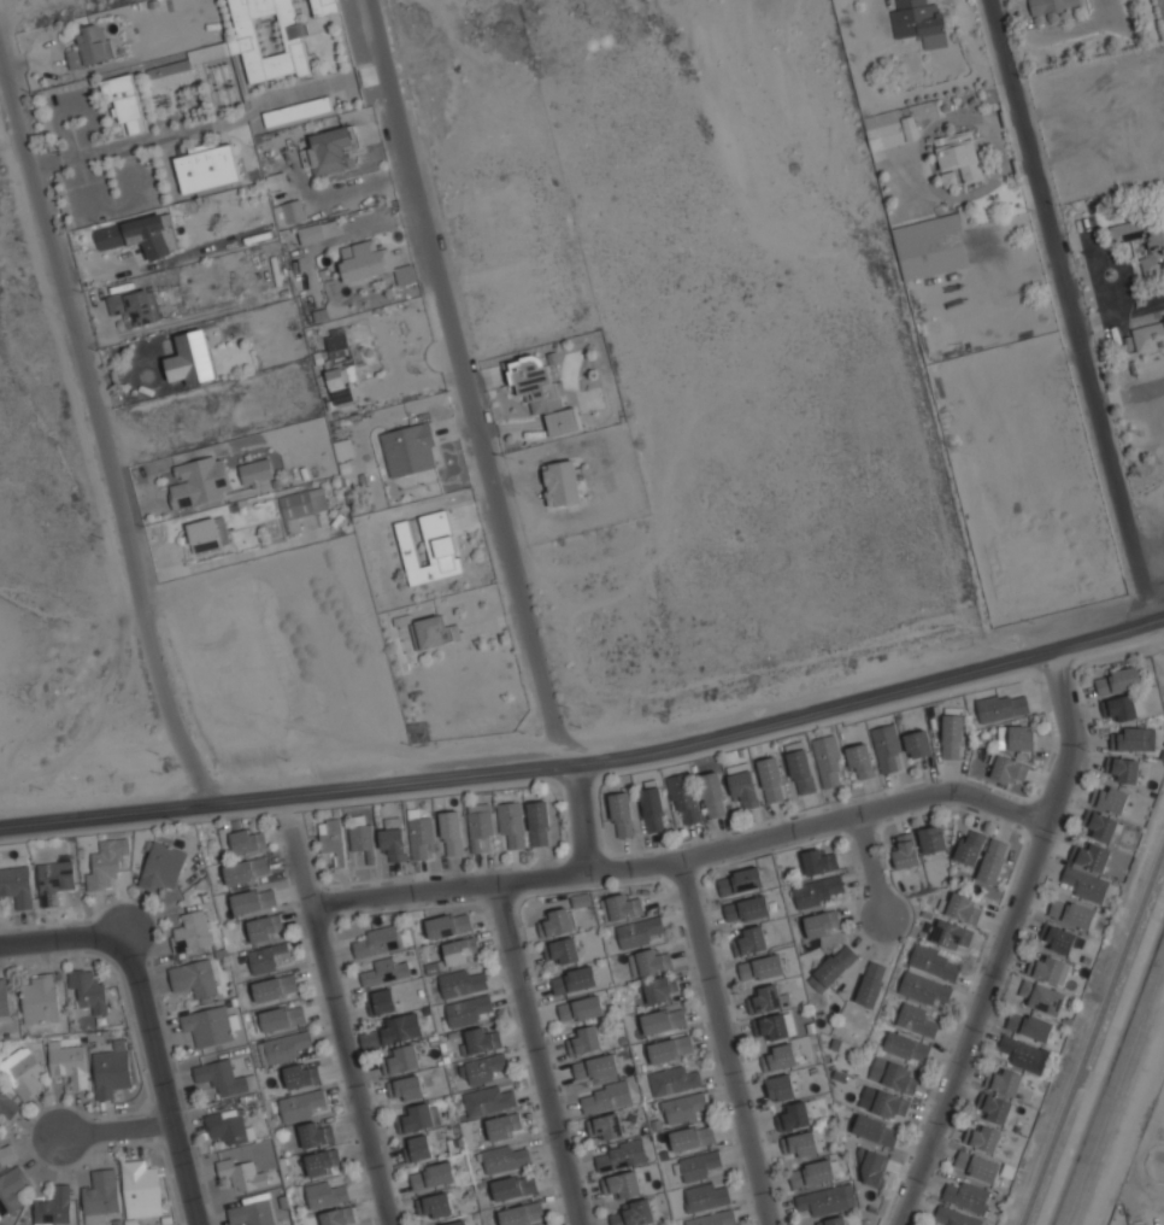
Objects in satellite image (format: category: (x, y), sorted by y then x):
building: (327, 5)
building: (1051, 5)
building: (921, 22)
building: (251, 43)
building: (90, 46)
building: (124, 101)
building: (296, 110)
building: (893, 131)
road: (131, 141)
building: (329, 148)
building: (958, 156)
building: (206, 165)
building: (293, 210)
building: (929, 225)
building: (311, 231)
building: (140, 234)
building: (1156, 247)
building: (365, 258)
building: (135, 305)
road: (1075, 310)
building: (1148, 334)
building: (189, 358)
building: (339, 364)
road: (471, 383)
building: (541, 391)
road: (1130, 392)
road: (101, 435)
building: (410, 447)
building: (343, 449)
building: (255, 470)
building: (199, 481)
building: (562, 481)
building: (301, 505)
building: (206, 535)
road: (1148, 545)
building: (430, 547)
building: (431, 629)
building: (1117, 679)
building: (1003, 707)
building: (1123, 707)
building: (952, 733)
building: (1017, 737)
building: (1135, 739)
building: (918, 744)
building: (887, 749)
building: (860, 761)
building: (828, 762)
road: (589, 763)
building: (1007, 768)
building: (1123, 769)
building: (800, 772)
building: (771, 779)
building: (743, 790)
building: (712, 795)
building: (683, 798)
building: (1112, 798)
building: (652, 807)
building: (621, 814)
road: (580, 819)
building: (539, 823)
building: (478, 826)
building: (512, 826)
building: (1101, 826)
building: (451, 833)
building: (421, 837)
building: (933, 838)
building: (247, 839)
building: (333, 839)
building: (361, 839)
building: (393, 843)
building: (970, 845)
building: (905, 851)
road: (683, 856)
building: (1090, 856)
building: (993, 858)
building: (818, 861)
building: (104, 863)
building: (161, 864)
road: (870, 864)
building: (246, 869)
building: (53, 879)
building: (740, 879)
building: (16, 884)
building: (1086, 885)
building: (818, 890)
building: (253, 899)
building: (581, 899)
road: (1035, 902)
building: (621, 905)
building: (963, 907)
building: (747, 908)
building: (1071, 913)
building: (559, 920)
building: (822, 922)
building: (448, 925)
building: (265, 928)
building: (641, 930)
building: (190, 931)
building: (952, 933)
road: (64, 938)
building: (1057, 938)
building: (754, 939)
road: (1003, 939)
building: (377, 940)
building: (460, 950)
building: (562, 950)
building: (269, 959)
building: (649, 961)
building: (935, 961)
building: (833, 966)
building: (762, 967)
building: (1052, 969)
building: (386, 971)
building: (194, 977)
building: (574, 978)
building: (462, 981)
building: (871, 983)
building: (275, 986)
building: (660, 987)
building: (924, 987)
building: (88, 992)
building: (768, 997)
building: (1041, 997)
building: (2, 1000)
building: (40, 1000)
building: (381, 1001)
building: (582, 1008)
building: (468, 1009)
building: (282, 1016)
building: (664, 1019)
building: (916, 1020)
building: (207, 1025)
road: (340, 1025)
building: (774, 1025)
building: (1028, 1026)
building: (390, 1031)
road: (1092, 1034)
building: (482, 1038)
building: (590, 1038)
road: (724, 1041)
building: (282, 1047)
building: (670, 1048)
building: (906, 1048)
road: (537, 1054)
building: (1023, 1054)
building: (780, 1055)
building: (400, 1059)
building: (69, 1065)
building: (596, 1066)
building: (483, 1068)
building: (110, 1073)
building: (300, 1073)
building: (22, 1074)
building: (894, 1074)
building: (223, 1077)
road: (160, 1078)
building: (674, 1079)
building: (1007, 1082)
building: (781, 1085)
building: (407, 1086)
building: (606, 1096)
building: (488, 1100)
building: (7, 1104)
building: (302, 1104)
building: (890, 1104)
building: (684, 1107)
building: (995, 1108)
building: (794, 1115)
building: (416, 1118)
building: (228, 1125)
road: (110, 1126)
building: (504, 1126)
building: (605, 1126)
building: (875, 1130)
building: (314, 1133)
building: (693, 1136)
building: (986, 1138)
building: (801, 1144)
building: (418, 1147)
building: (6, 1154)
building: (621, 1154)
building: (506, 1159)
building: (323, 1161)
building: (696, 1165)
building: (872, 1167)
building: (976, 1167)
building: (812, 1171)
building: (241, 1173)
building: (433, 1176)
building: (622, 1184)
building: (513, 1186)
building: (140, 1190)
building: (10, 1192)
building: (327, 1192)
building: (99, 1196)
building: (706, 1196)
building: (966, 1196)
building: (828, 1197)
building: (434, 1205)
building: (53, 1208)
building: (252, 1211)
building: (522, 1213)
building: (634, 1213)
building: (336, 1217)
building: (954, 1217)
building: (712, 1218)
building: (831, 1221)
building: (457, 1223)

